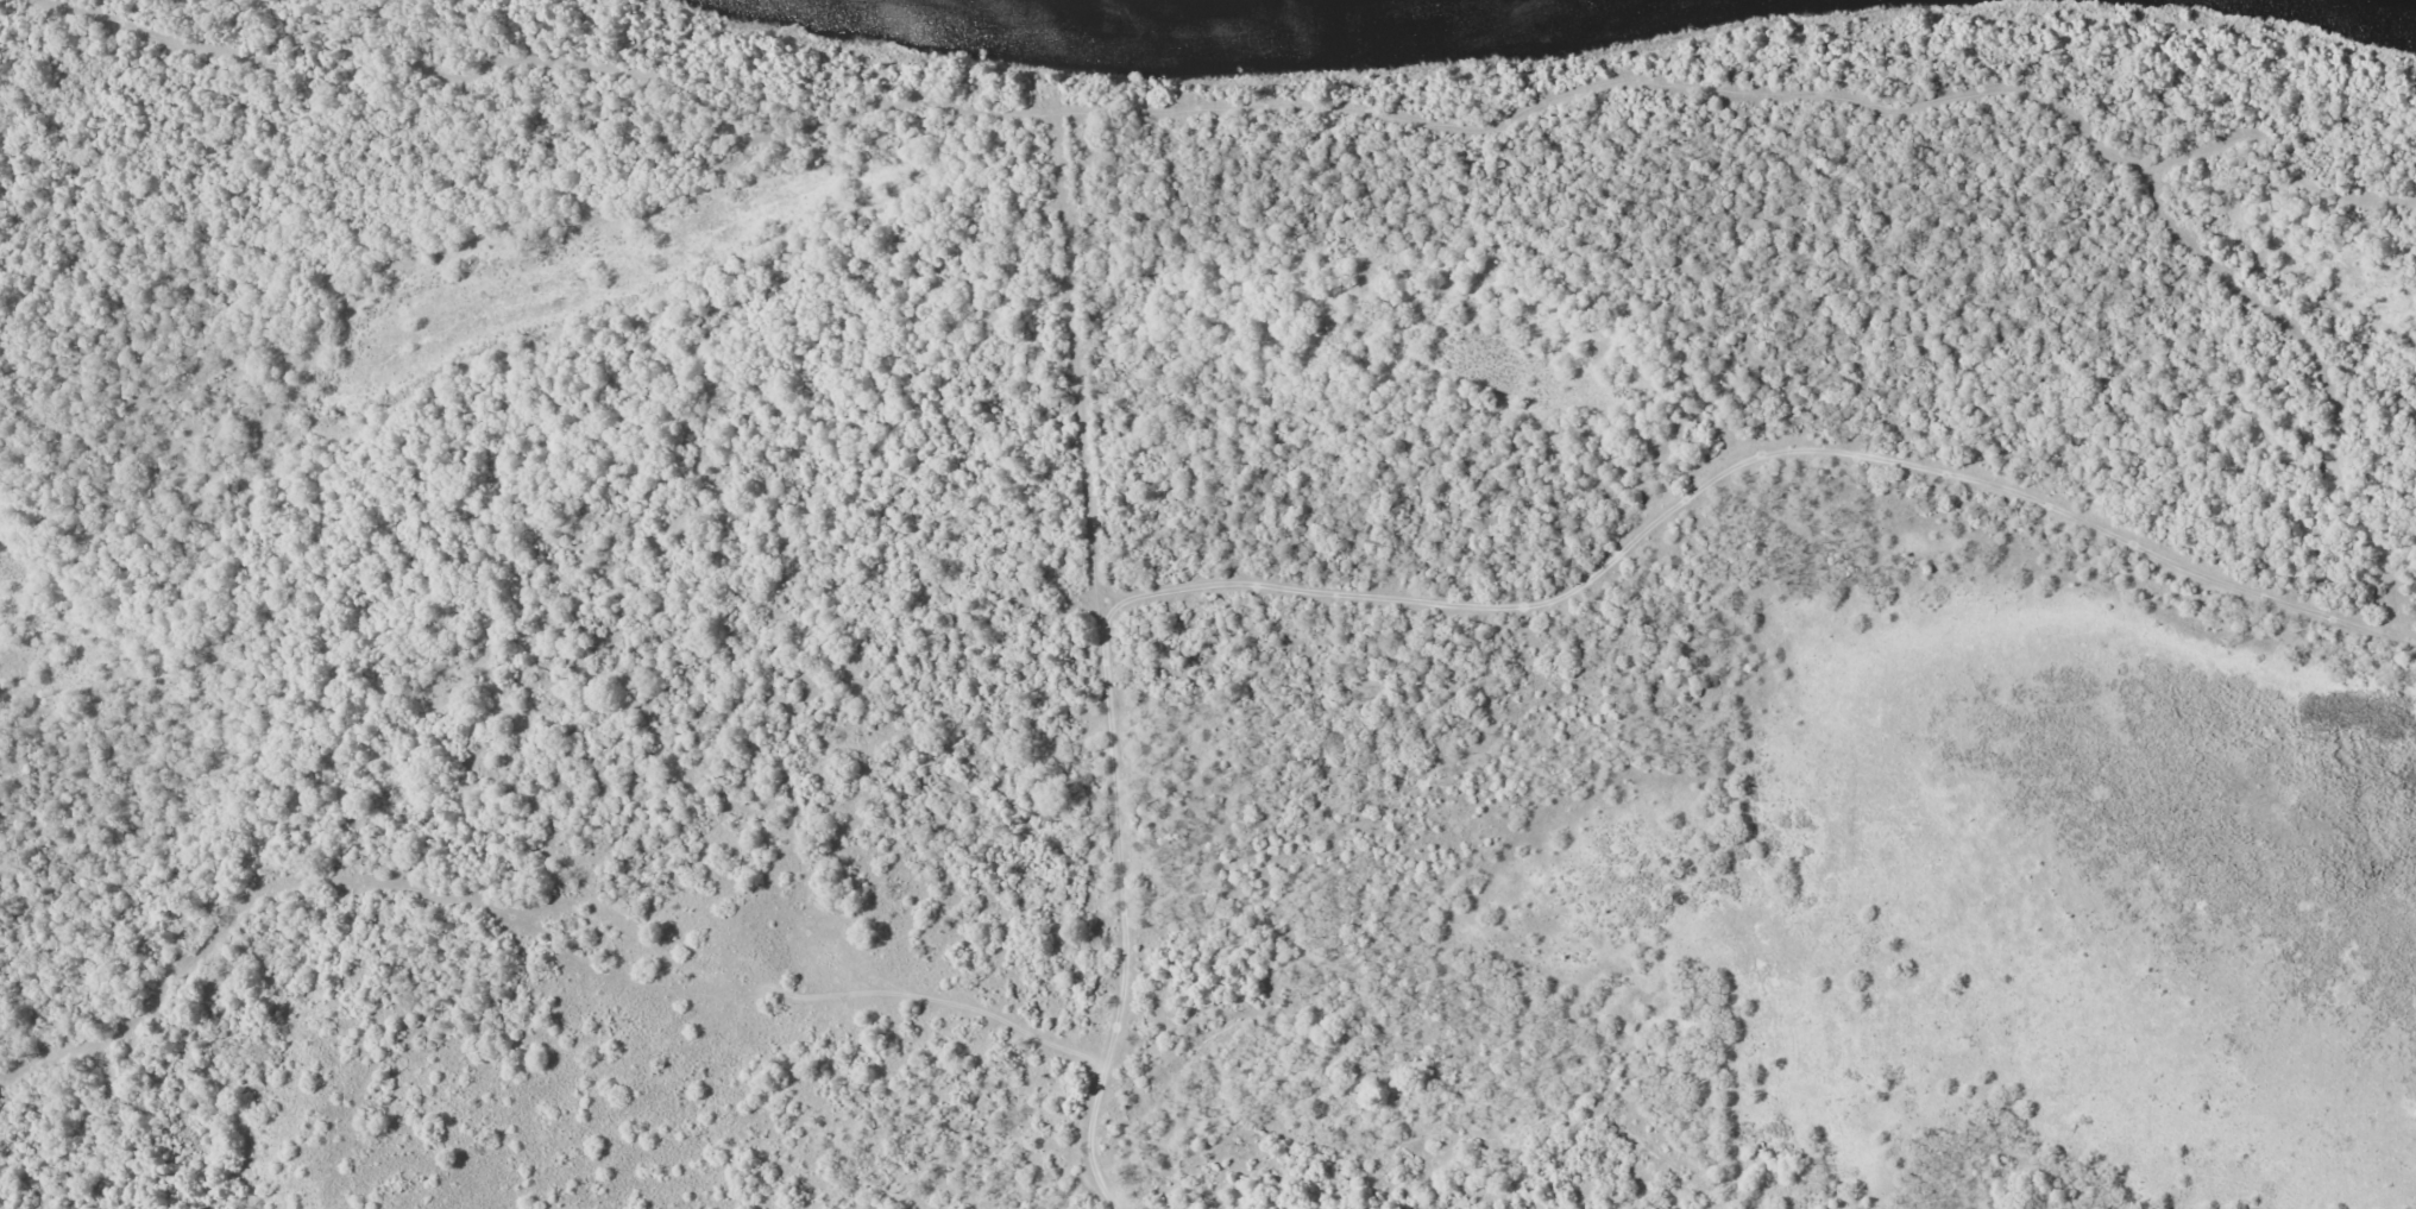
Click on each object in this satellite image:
river: (2380, 8)
river: (1239, 27)
road: (1334, 181)
road: (1008, 1081)
road: (1132, 1157)

